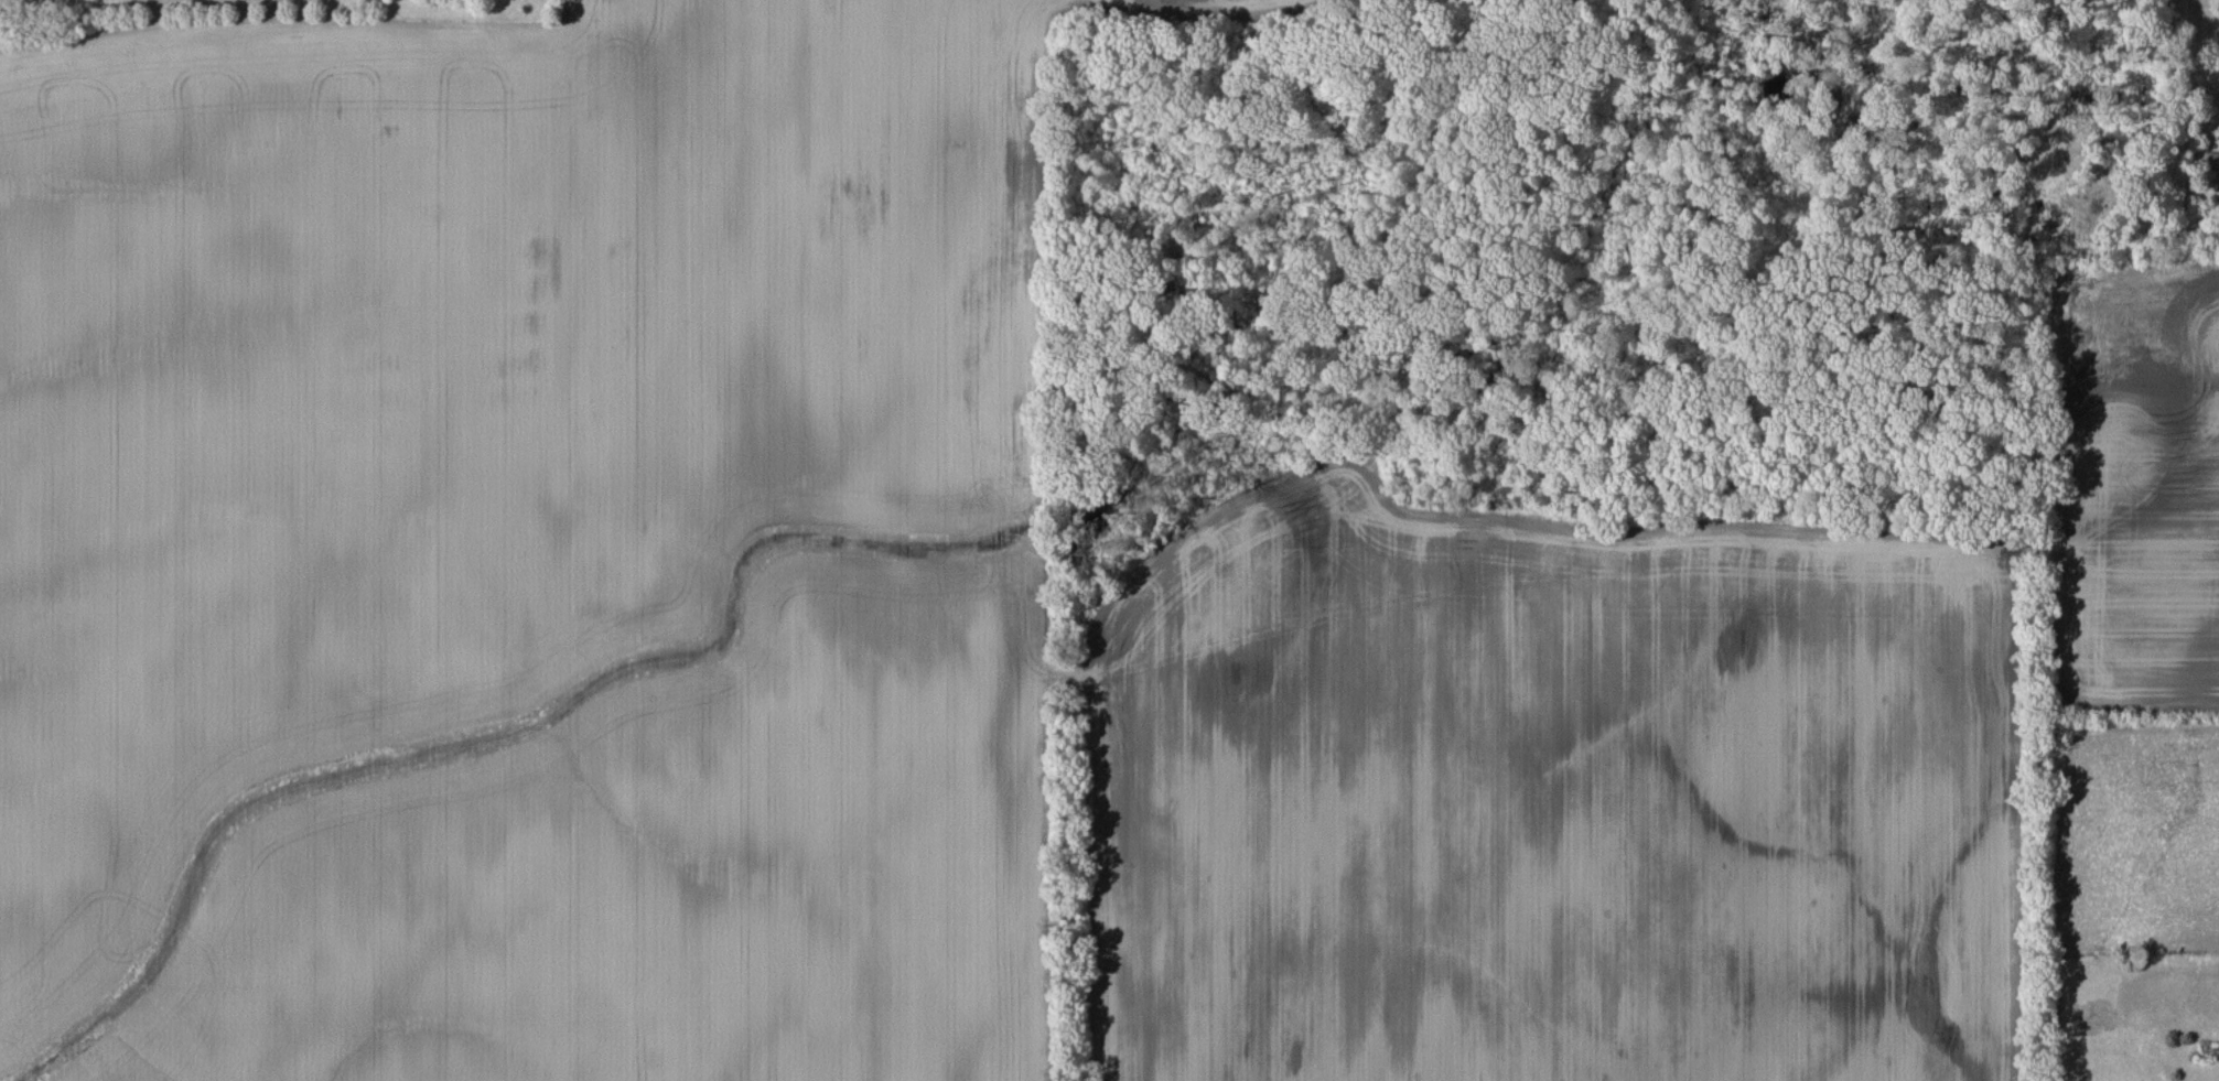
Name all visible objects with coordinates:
building: (2211, 160)

